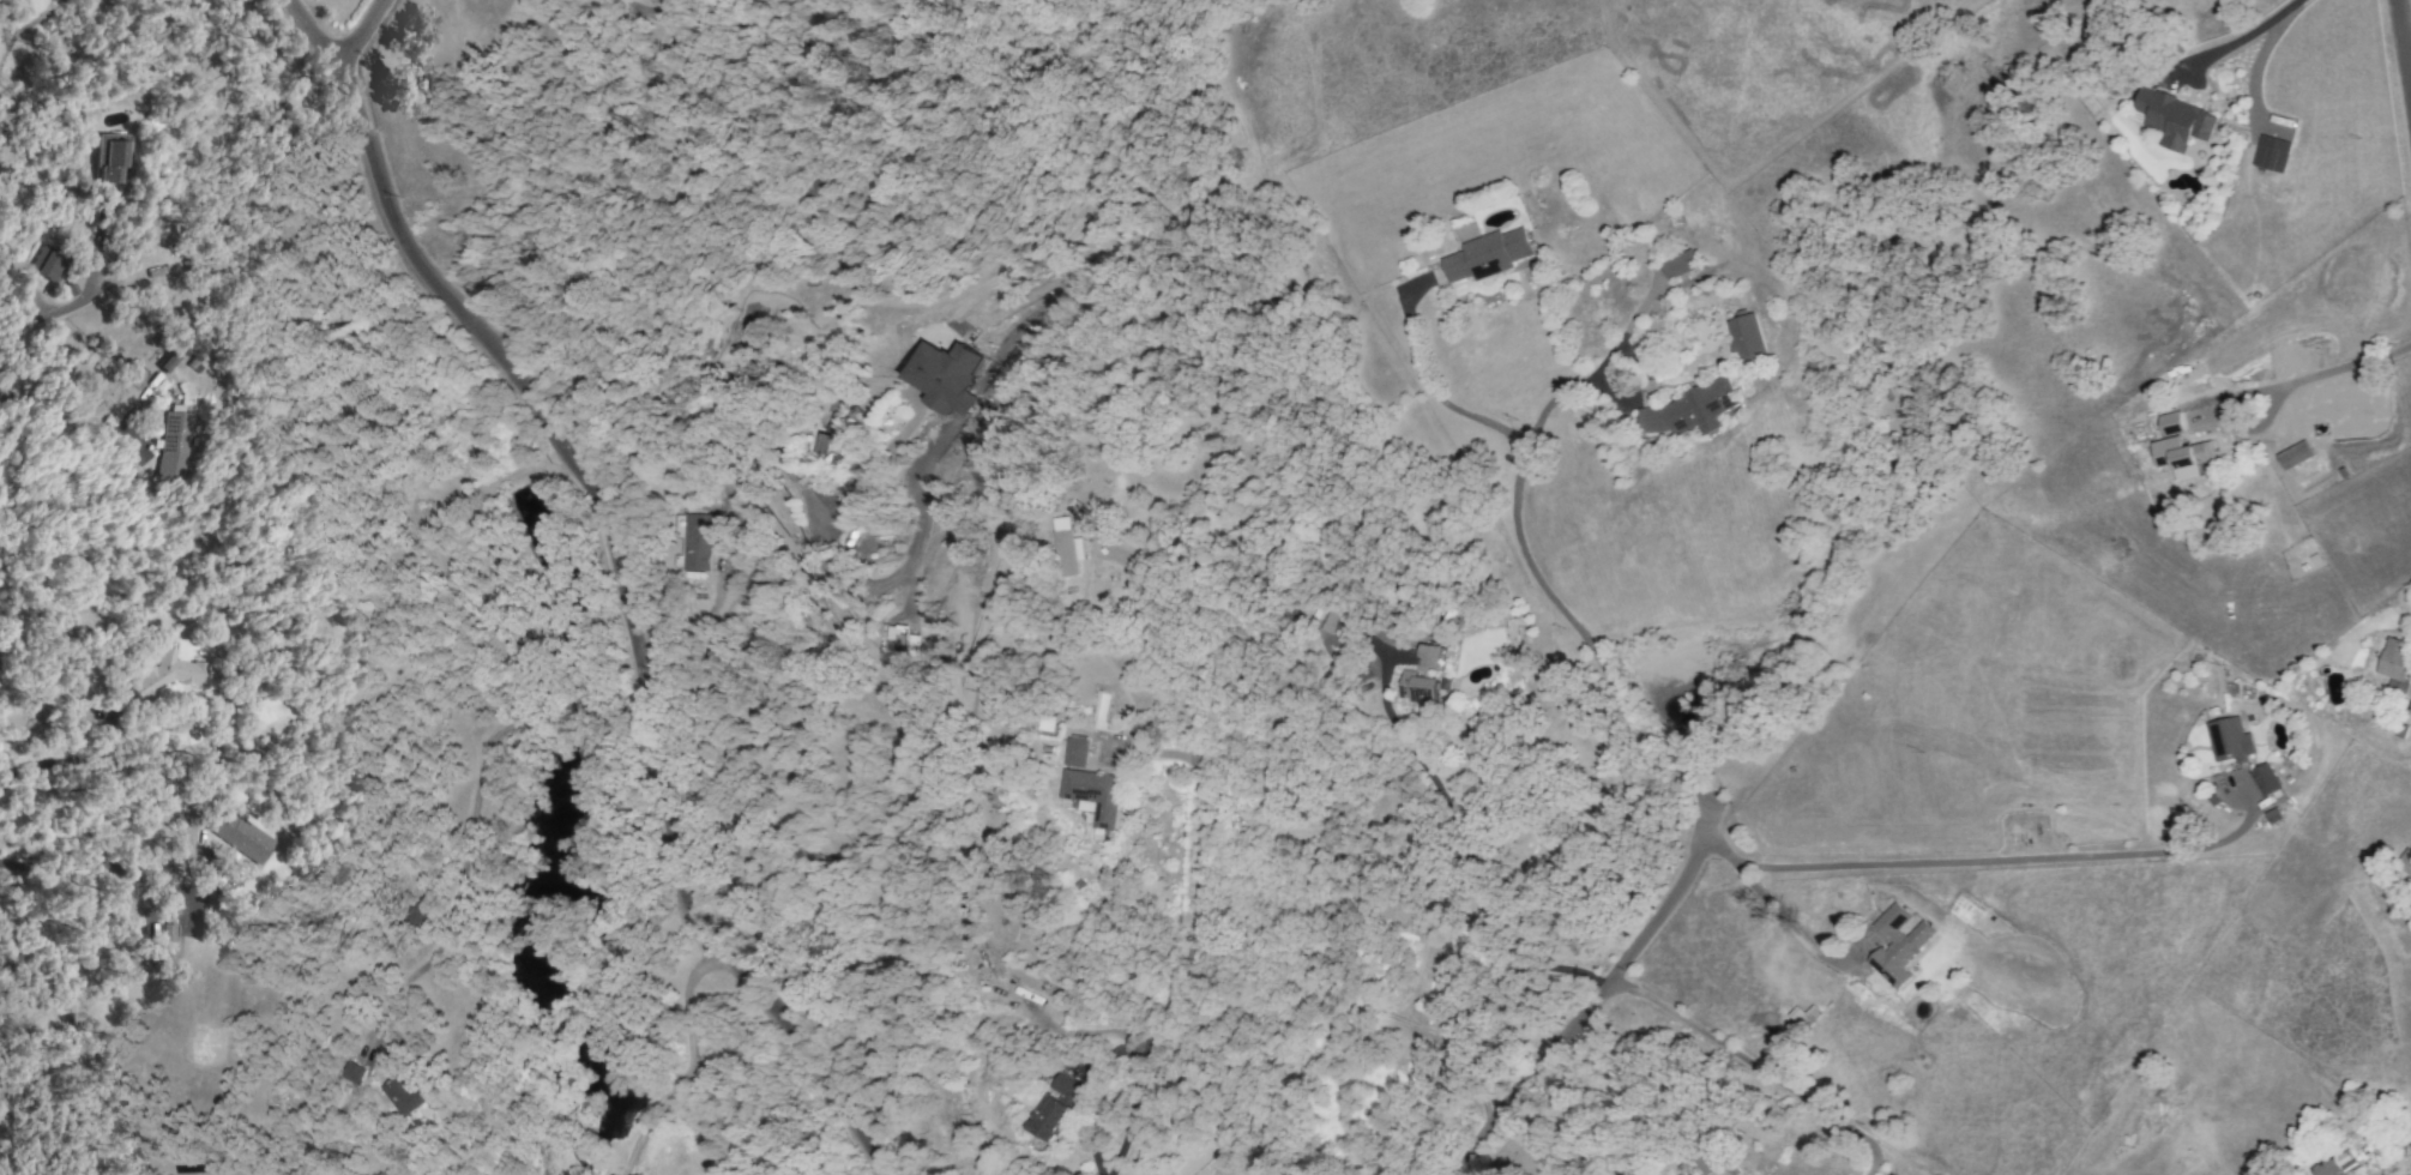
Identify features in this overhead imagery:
road: (358, 30)
road: (2237, 40)
road: (2403, 52)
road: (2409, 70)
building: (2172, 119)
building: (2271, 153)
building: (107, 158)
building: (1485, 255)
building: (44, 264)
building: (1678, 265)
road: (72, 303)
building: (1746, 339)
building: (164, 363)
road: (2343, 375)
building: (945, 376)
road: (1557, 393)
building: (1687, 410)
building: (2168, 423)
road: (2219, 430)
building: (845, 438)
building: (174, 445)
building: (2180, 453)
building: (2292, 454)
building: (694, 542)
building: (1069, 548)
road: (1524, 553)
road: (609, 577)
building: (2394, 663)
building: (164, 674)
building: (1422, 676)
building: (261, 710)
building: (2229, 740)
building: (1075, 753)
building: (2264, 779)
building: (1093, 795)
road: (469, 817)
building: (239, 837)
road: (1191, 858)
building: (2405, 862)
road: (106, 864)
road: (1466, 864)
road: (1958, 872)
building: (1398, 911)
road: (1790, 927)
building: (162, 936)
building: (1897, 945)
road: (1610, 1000)
road: (689, 1065)
road: (1759, 1072)
building: (351, 1073)
building: (1063, 1086)
building: (398, 1095)
building: (1049, 1119)
building: (1705, 1162)
building: (2334, 1164)

